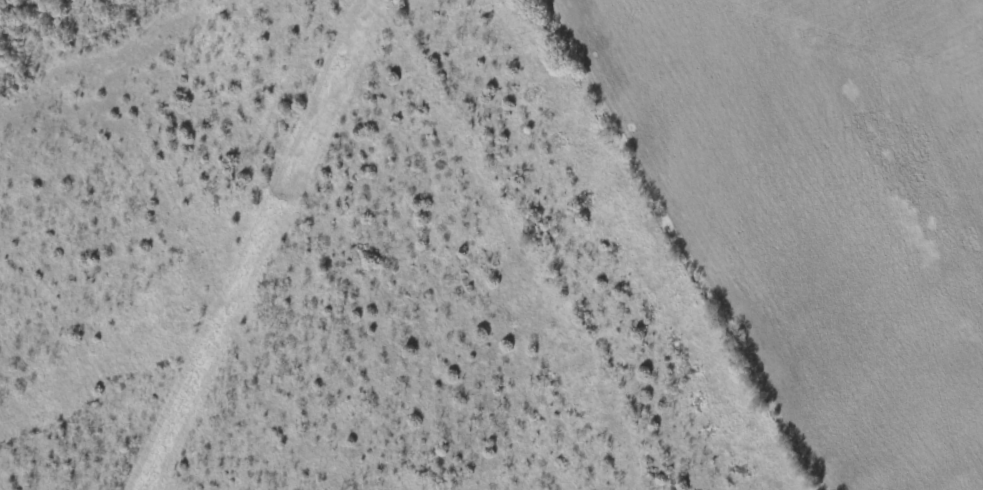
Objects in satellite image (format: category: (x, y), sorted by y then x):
road: (64, 49)

